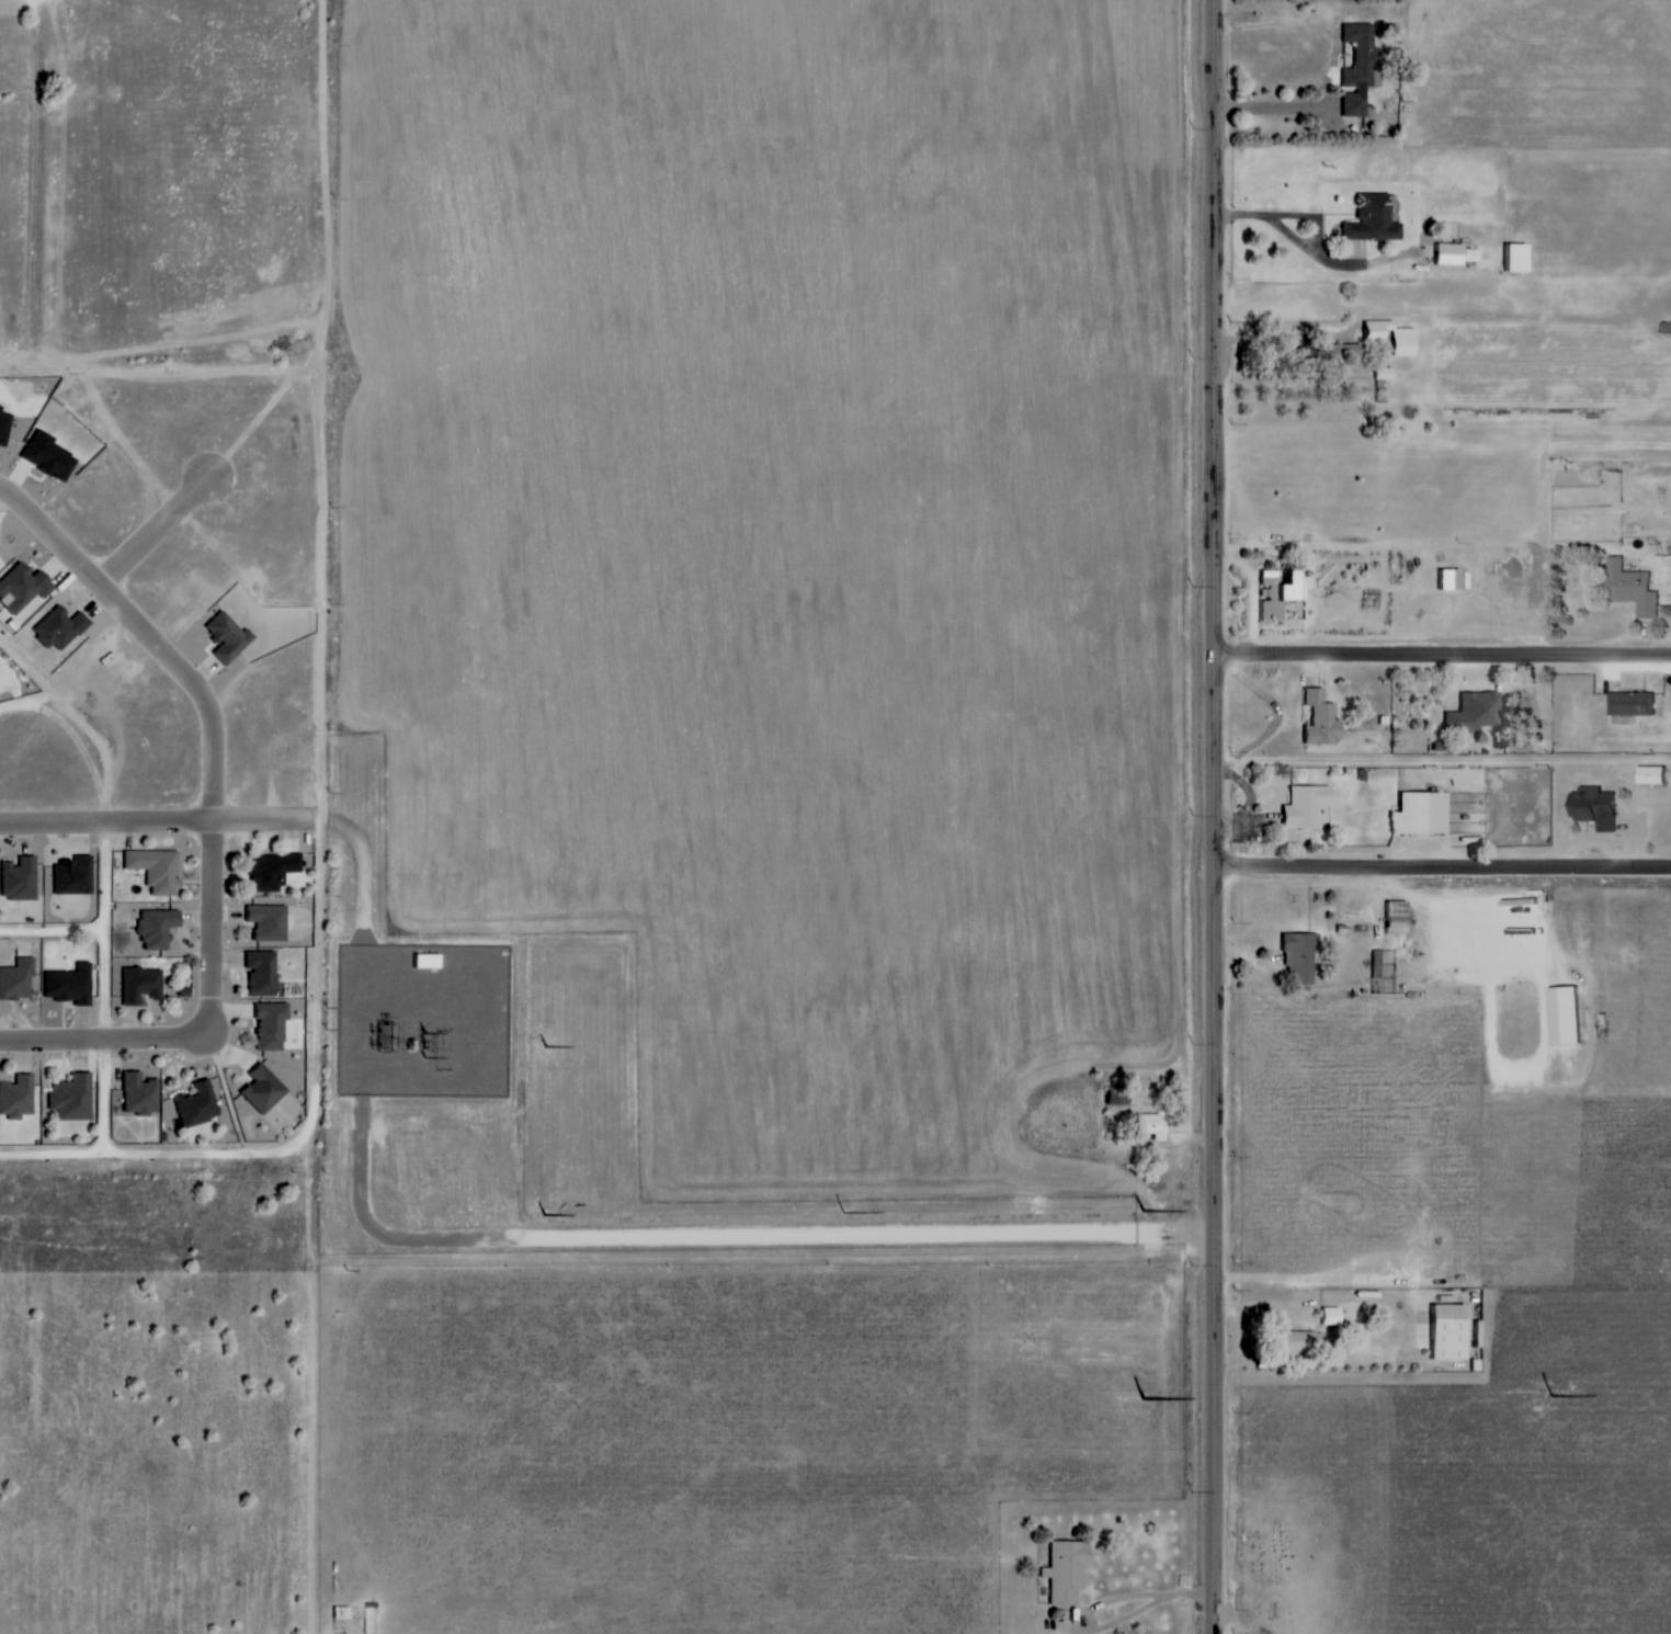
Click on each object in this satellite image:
building: (1357, 69)
road: (1283, 111)
power tower: (1193, 129)
building: (1368, 222)
building: (1450, 256)
building: (1510, 259)
road: (1309, 277)
road: (325, 330)
building: (1369, 334)
building: (1399, 343)
building: (1337, 355)
power tower: (1193, 359)
road: (1297, 368)
building: (1380, 374)
building: (5, 428)
building: (52, 457)
road: (154, 531)
building: (1444, 578)
power tower: (1193, 587)
building: (24, 588)
building: (1627, 588)
building: (1276, 591)
road: (147, 632)
building: (229, 637)
road: (1443, 653)
building: (1628, 704)
building: (1474, 711)
building: (1317, 718)
road: (1442, 760)
building: (1647, 775)
building: (1303, 807)
building: (1591, 807)
building: (1417, 813)
power tower: (1193, 815)
road: (1214, 816)
road: (158, 820)
building: (158, 870)
building: (274, 871)
road: (1442, 871)
building: (75, 876)
building: (21, 880)
building: (1391, 918)
building: (271, 922)
road: (52, 927)
building: (160, 929)
road: (103, 930)
building: (1296, 955)
building: (264, 973)
building: (18, 981)
building: (144, 984)
building: (72, 986)
building: (1560, 1015)
building: (273, 1025)
road: (204, 1030)
power tower: (1192, 1043)
building: (265, 1090)
road: (102, 1093)
building: (143, 1094)
building: (1113, 1096)
building: (18, 1098)
building: (75, 1098)
building: (198, 1105)
building: (1146, 1125)
road: (305, 1128)
power tower: (1192, 1268)
road: (1323, 1304)
building: (1333, 1316)
building: (1444, 1331)
building: (1294, 1341)
power tower: (1191, 1491)
building: (1061, 1571)
road: (1076, 1610)

